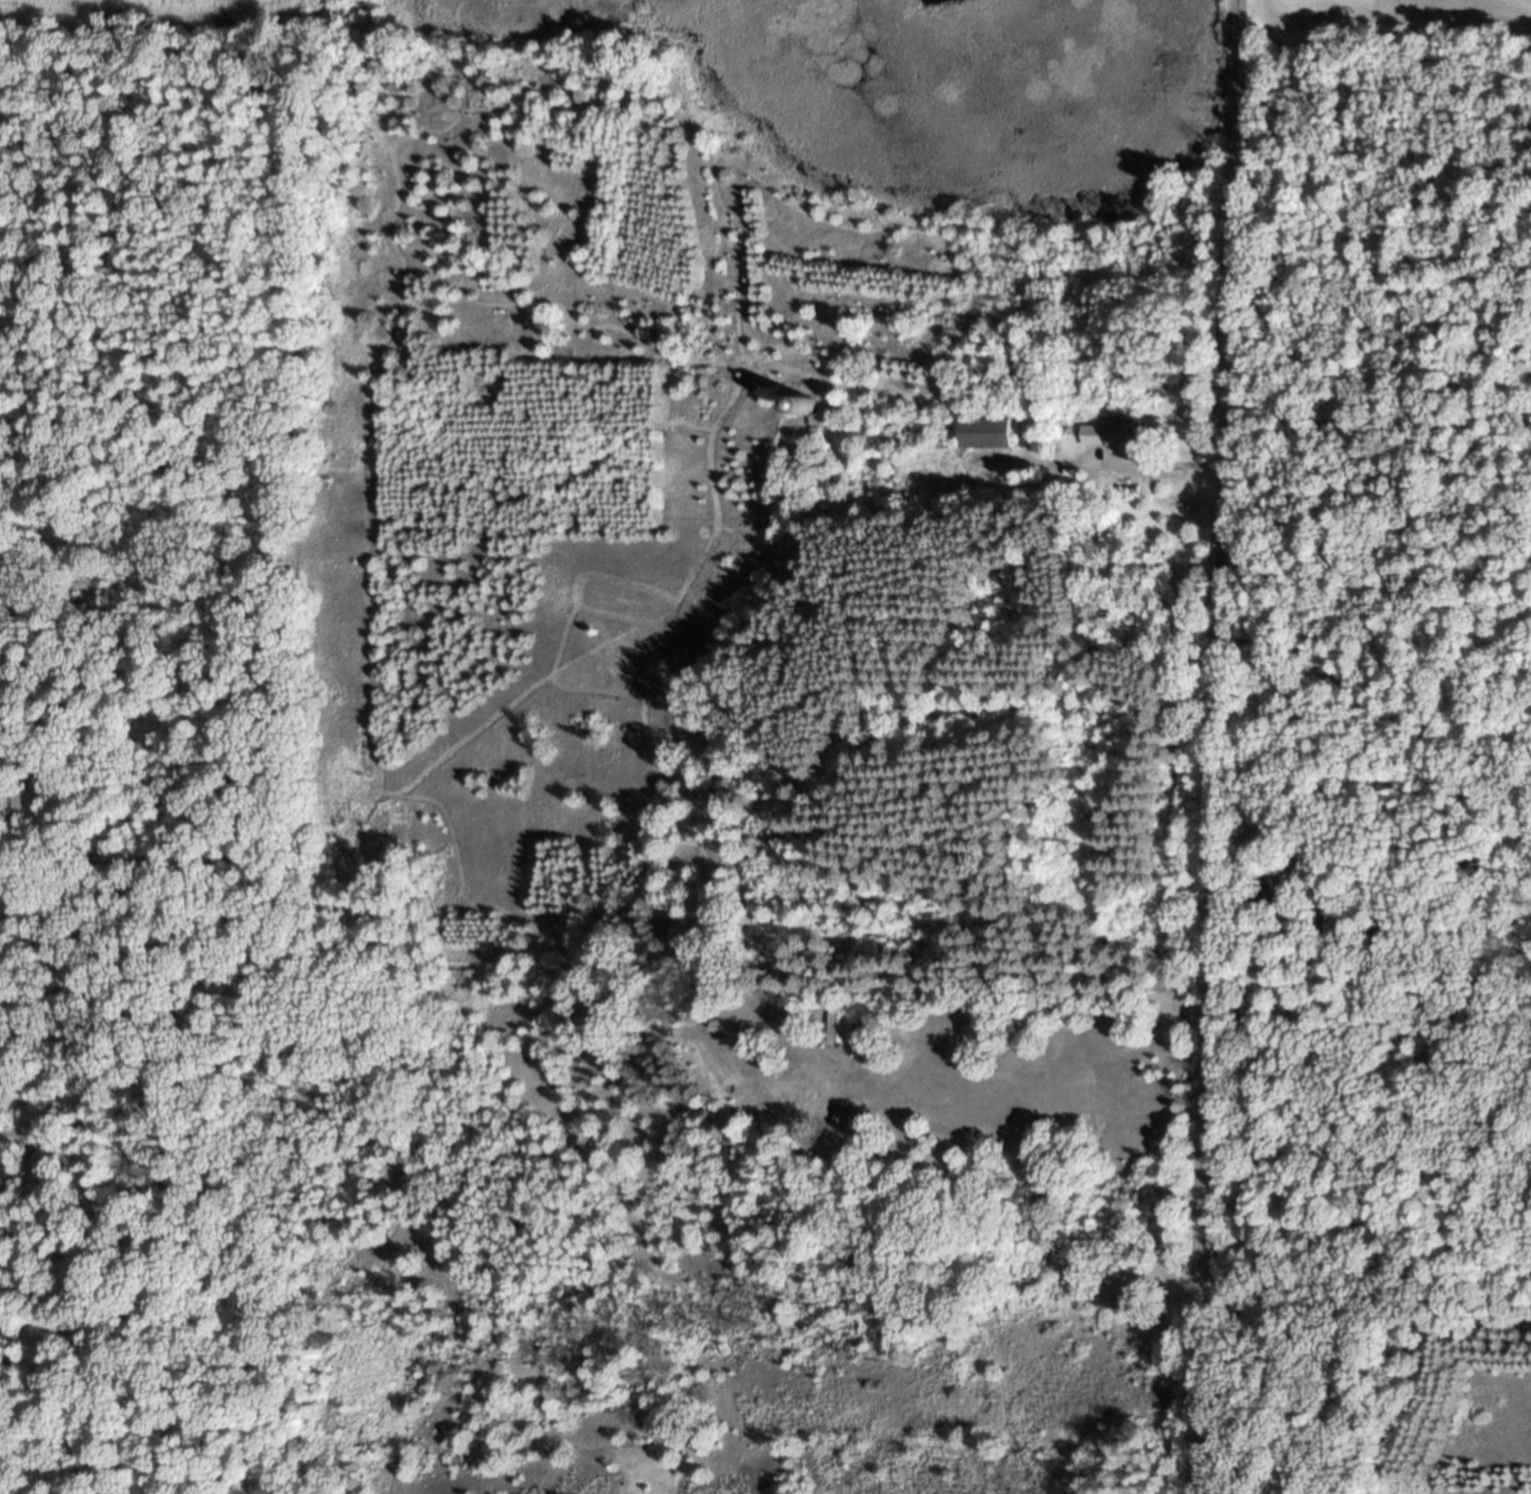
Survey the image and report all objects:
building: (989, 440)
building: (1121, 442)
road: (1212, 746)
building: (842, 1033)
building: (843, 1123)

